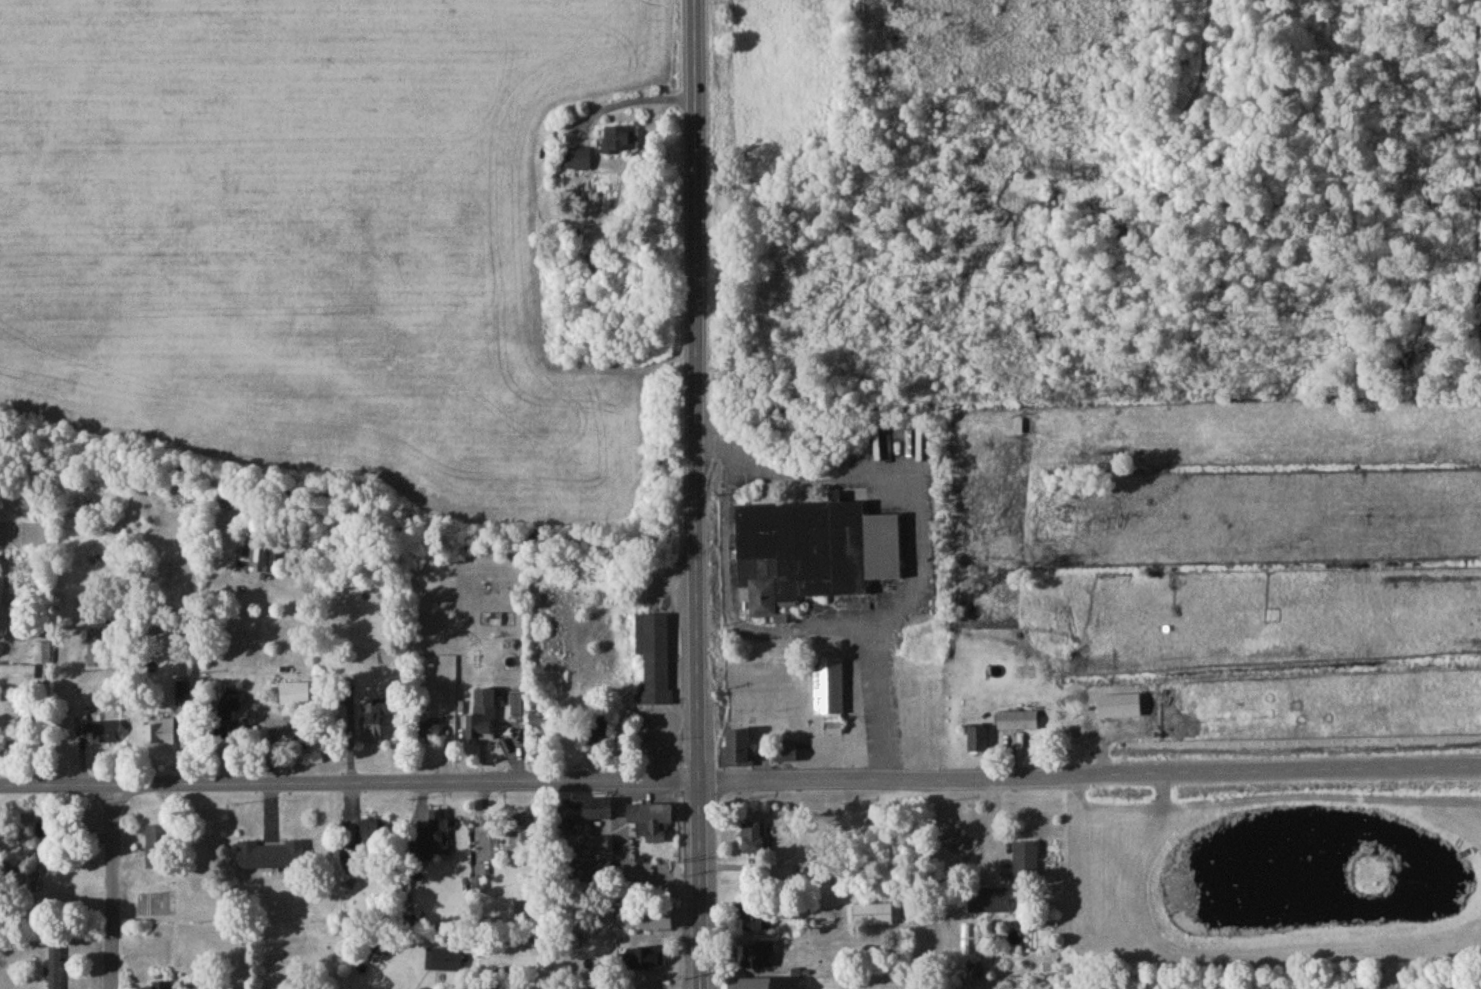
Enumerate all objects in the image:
road: (628, 90)
building: (621, 142)
building: (577, 162)
road: (696, 494)
road: (920, 514)
building: (814, 555)
building: (431, 583)
road: (733, 612)
building: (98, 651)
building: (44, 655)
building: (655, 662)
building: (830, 696)
building: (297, 697)
building: (485, 719)
building: (375, 722)
building: (1019, 723)
building: (431, 730)
building: (98, 736)
building: (164, 736)
building: (979, 743)
building: (739, 751)
building: (787, 755)
road: (740, 779)
building: (591, 813)
building: (653, 824)
building: (440, 831)
building: (49, 836)
building: (521, 838)
road: (354, 839)
building: (372, 841)
building: (756, 841)
building: (598, 846)
building: (158, 851)
building: (273, 858)
road: (626, 861)
building: (1027, 866)
building: (595, 875)
road: (112, 887)
building: (991, 903)
building: (531, 914)
building: (873, 918)
building: (657, 924)
building: (760, 960)
building: (646, 962)
building: (56, 968)
building: (767, 985)
building: (163, 987)

